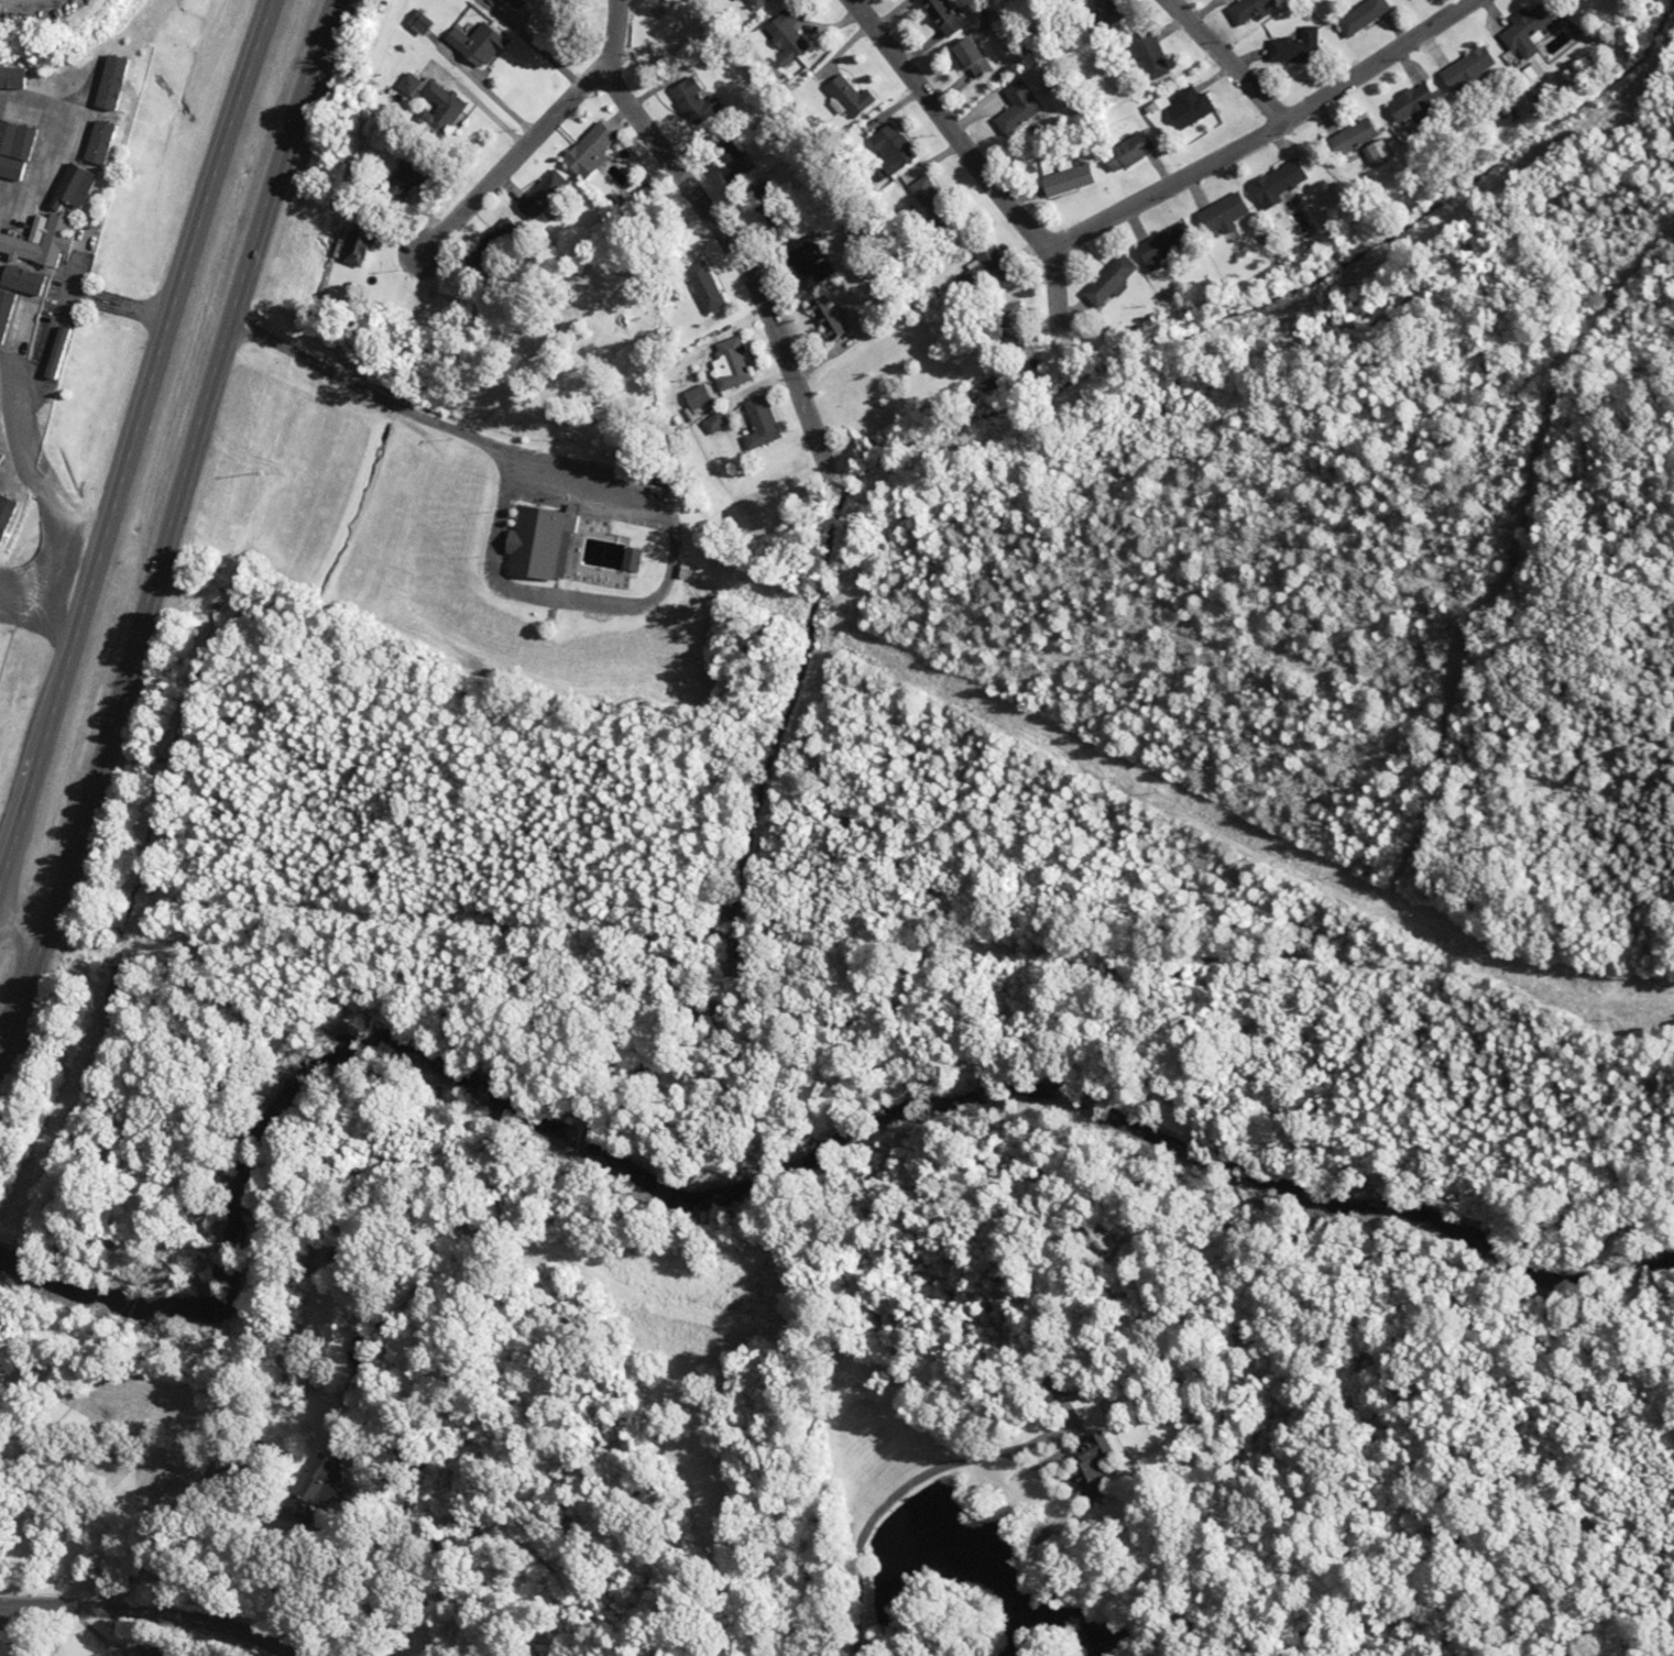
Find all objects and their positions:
building: (1257, 10)
building: (945, 17)
building: (1358, 17)
building: (1524, 33)
road: (613, 34)
building: (483, 44)
building: (789, 45)
building: (1293, 46)
building: (1156, 55)
building: (980, 57)
road: (1222, 62)
building: (1467, 69)
building: (21, 77)
building: (415, 85)
building: (117, 92)
building: (855, 97)
building: (697, 100)
building: (446, 107)
building: (1195, 107)
building: (1412, 107)
building: (1022, 109)
building: (1512, 118)
road: (943, 123)
building: (83, 130)
road: (1265, 132)
building: (1352, 138)
building: (898, 149)
building: (597, 150)
building: (15, 154)
road: (510, 158)
building: (1075, 178)
building: (1279, 183)
building: (937, 194)
building: (46, 195)
building: (546, 196)
building: (1229, 213)
building: (62, 240)
building: (355, 240)
building: (1170, 245)
road: (740, 259)
building: (988, 265)
building: (1114, 281)
building: (707, 286)
building: (828, 317)
building: (1013, 329)
building: (734, 364)
building: (701, 397)
building: (761, 423)
road: (133, 448)
road: (188, 469)
road: (23, 930)
road: (23, 999)
building: (1050, 1393)
building: (1095, 1474)
road: (164, 1583)

